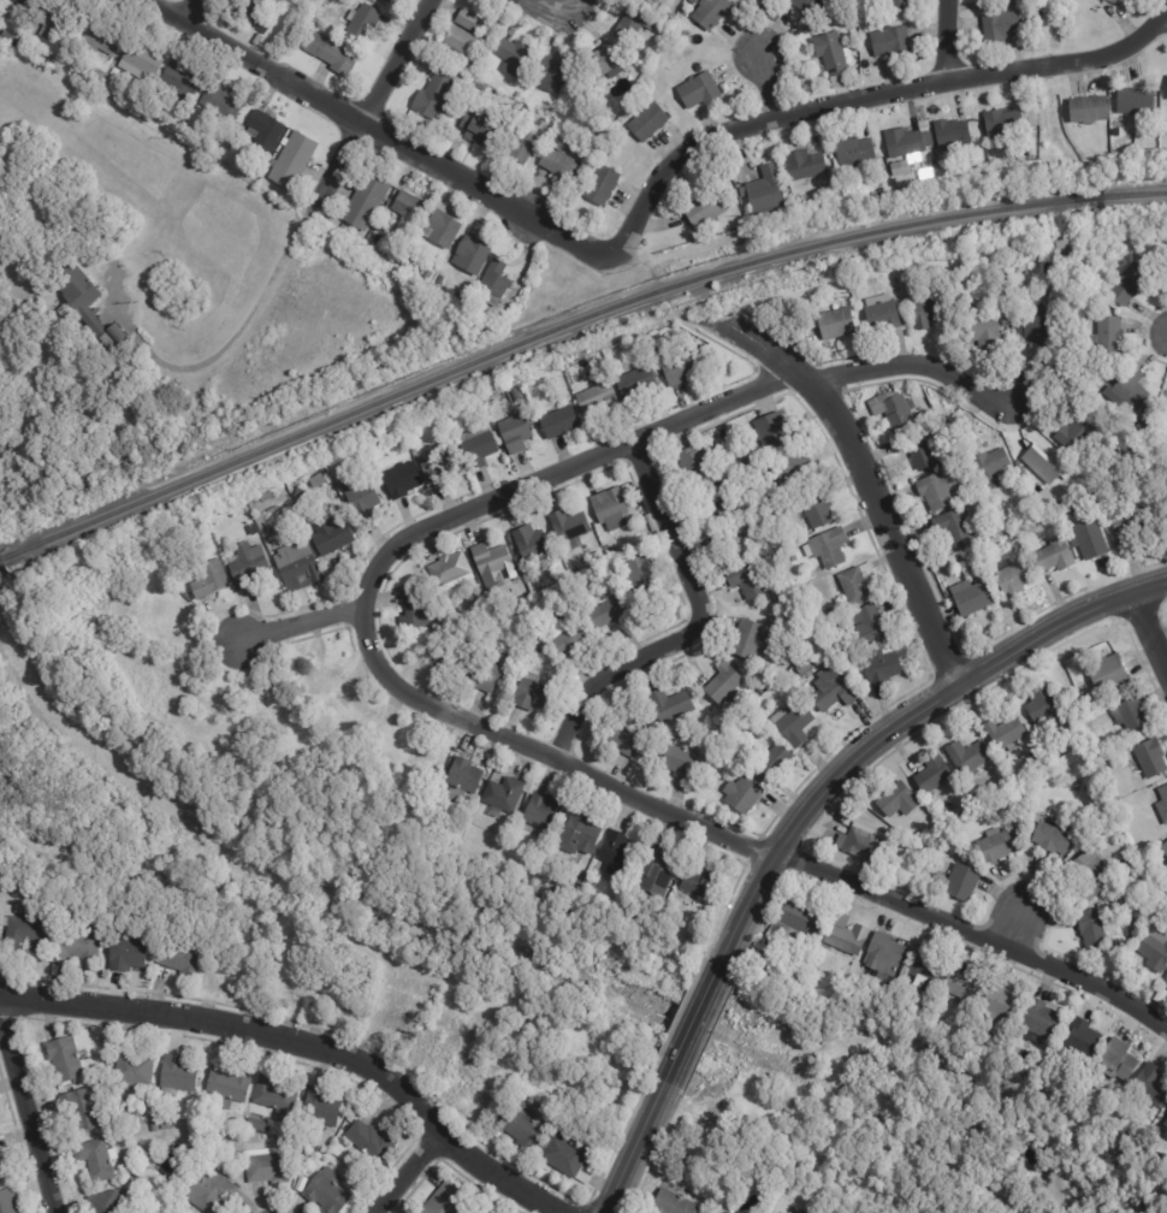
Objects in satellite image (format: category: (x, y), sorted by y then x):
building: (990, 0)
building: (11, 1)
building: (386, 1)
building: (26, 2)
building: (1018, 2)
building: (1118, 2)
road: (549, 4)
building: (898, 6)
building: (808, 7)
road: (190, 11)
building: (710, 13)
building: (249, 14)
building: (49, 19)
building: (681, 19)
building: (467, 22)
building: (361, 24)
building: (633, 25)
building: (1001, 28)
road: (1166, 29)
building: (140, 34)
building: (97, 35)
road: (941, 42)
building: (890, 43)
building: (430, 47)
building: (457, 47)
building: (330, 55)
building: (511, 58)
building: (831, 59)
building: (140, 60)
building: (52, 61)
building: (603, 65)
building: (97, 73)
building: (114, 73)
building: (550, 76)
building: (178, 84)
building: (481, 87)
road: (764, 88)
building: (108, 89)
building: (527, 90)
building: (699, 91)
building: (438, 93)
building: (1166, 96)
road: (865, 101)
building: (1136, 101)
building: (128, 103)
building: (218, 103)
road: (375, 108)
building: (1088, 110)
building: (146, 117)
building: (1030, 118)
building: (647, 123)
building: (1002, 123)
building: (475, 130)
building: (262, 131)
road: (377, 134)
building: (952, 134)
building: (905, 142)
building: (519, 147)
building: (1031, 147)
building: (853, 150)
building: (291, 160)
building: (804, 165)
building: (561, 167)
building: (899, 167)
building: (842, 172)
building: (600, 188)
building: (763, 190)
building: (365, 202)
building: (704, 209)
building: (405, 213)
building: (740, 223)
building: (443, 229)
building: (1025, 252)
building: (470, 255)
building: (408, 264)
building: (426, 276)
building: (440, 280)
building: (493, 283)
building: (1127, 284)
building: (78, 296)
building: (458, 298)
building: (962, 298)
building: (973, 308)
building: (929, 310)
building: (885, 315)
building: (965, 315)
railway: (573, 320)
building: (1032, 321)
building: (836, 324)
building: (985, 330)
building: (1108, 337)
building: (111, 338)
road: (229, 342)
building: (639, 344)
building: (1036, 353)
building: (653, 359)
building: (679, 366)
road: (908, 368)
building: (599, 369)
building: (634, 385)
building: (1129, 390)
building: (598, 398)
building: (948, 404)
building: (893, 409)
building: (935, 413)
building: (597, 415)
building: (920, 419)
building: (559, 422)
building: (1145, 422)
building: (1070, 431)
building: (514, 433)
building: (770, 433)
building: (476, 446)
building: (975, 450)
building: (918, 451)
building: (756, 458)
building: (1045, 466)
building: (437, 467)
building: (695, 467)
building: (793, 468)
building: (990, 468)
road: (867, 469)
building: (399, 479)
building: (935, 491)
building: (360, 499)
building: (711, 503)
building: (817, 508)
building: (610, 509)
building: (1130, 523)
building: (568, 526)
building: (954, 527)
building: (330, 536)
park: (1, 540)
building: (734, 540)
building: (1089, 540)
building: (531, 543)
building: (827, 548)
railway: (5, 555)
building: (1054, 557)
building: (296, 562)
building: (245, 564)
building: (491, 564)
building: (449, 573)
building: (638, 573)
building: (208, 580)
building: (747, 580)
building: (1014, 580)
building: (855, 585)
building: (972, 597)
building: (828, 611)
building: (413, 614)
building: (608, 615)
building: (869, 625)
road: (1151, 626)
road: (301, 628)
road: (689, 629)
building: (565, 638)
building: (748, 640)
building: (419, 645)
building: (539, 650)
building: (454, 659)
building: (804, 668)
building: (882, 668)
building: (493, 673)
building: (1109, 673)
building: (812, 676)
building: (723, 686)
building: (830, 691)
building: (760, 692)
building: (532, 693)
building: (793, 697)
building: (1043, 703)
building: (669, 705)
building: (1131, 715)
road: (895, 722)
building: (792, 724)
building: (1006, 732)
building: (621, 740)
road: (504, 741)
building: (1055, 751)
building: (968, 755)
building: (1150, 757)
building: (680, 761)
building: (772, 764)
building: (934, 773)
building: (461, 780)
building: (502, 795)
building: (742, 795)
building: (898, 799)
building: (1162, 804)
building: (540, 815)
building: (843, 816)
building: (580, 836)
building: (1052, 836)
building: (861, 841)
building: (997, 844)
building: (1165, 846)
building: (954, 850)
building: (616, 856)
building: (1149, 859)
building: (654, 874)
building: (1090, 874)
building: (577, 878)
building: (961, 881)
building: (699, 883)
building: (8, 892)
building: (1157, 906)
building: (60, 912)
building: (790, 924)
building: (1092, 929)
building: (136, 930)
road: (1015, 931)
building: (846, 934)
building: (25, 935)
building: (75, 946)
building: (1153, 951)
building: (883, 952)
building: (126, 954)
building: (180, 960)
building: (848, 963)
building: (924, 966)
building: (814, 970)
building: (1166, 983)
building: (966, 986)
building: (1002, 1002)
building: (1039, 1019)
building: (433, 1023)
road: (687, 1034)
building: (1083, 1036)
building: (972, 1042)
road: (308, 1048)
building: (61, 1060)
building: (1116, 1060)
building: (131, 1069)
building: (177, 1075)
building: (100, 1083)
building: (1150, 1084)
building: (225, 1087)
building: (276, 1097)
building: (321, 1108)
building: (78, 1111)
building: (162, 1114)
building: (214, 1117)
road: (25, 1120)
building: (1166, 1123)
building: (255, 1124)
building: (164, 1125)
building: (153, 1126)
building: (523, 1128)
building: (266, 1129)
building: (215, 1134)
building: (1166, 1134)
building: (369, 1141)
building: (1120, 1150)
road: (629, 1156)
building: (568, 1158)
building: (95, 1159)
building: (266, 1164)
building: (5, 1168)
road: (403, 1173)
building: (125, 1183)
building: (300, 1184)
building: (207, 1189)
building: (326, 1193)
building: (445, 1200)
building: (11, 1201)
building: (107, 1202)
building: (673, 1203)
building: (710, 1212)
building: (711, 1212)
building: (727, 1212)

